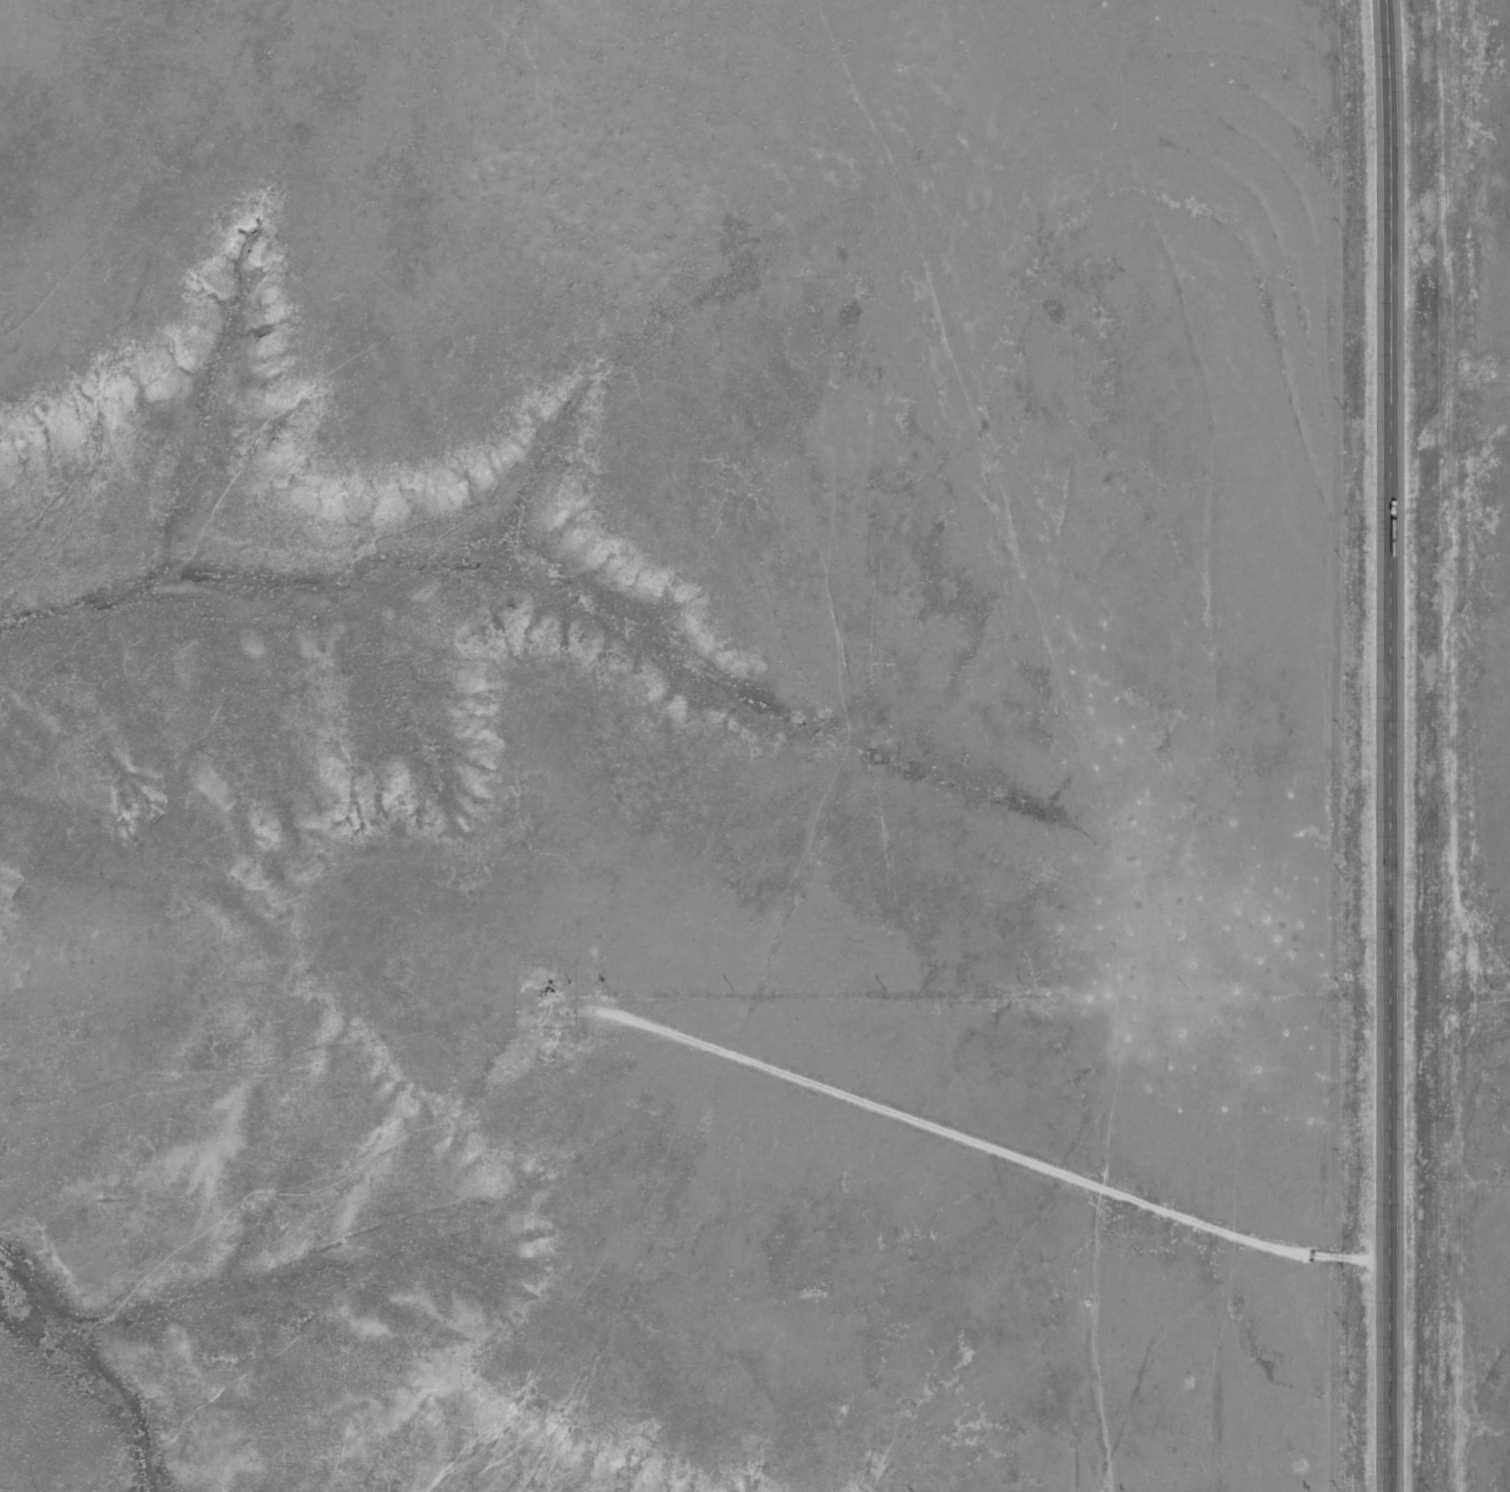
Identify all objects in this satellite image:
road: (1399, 745)

